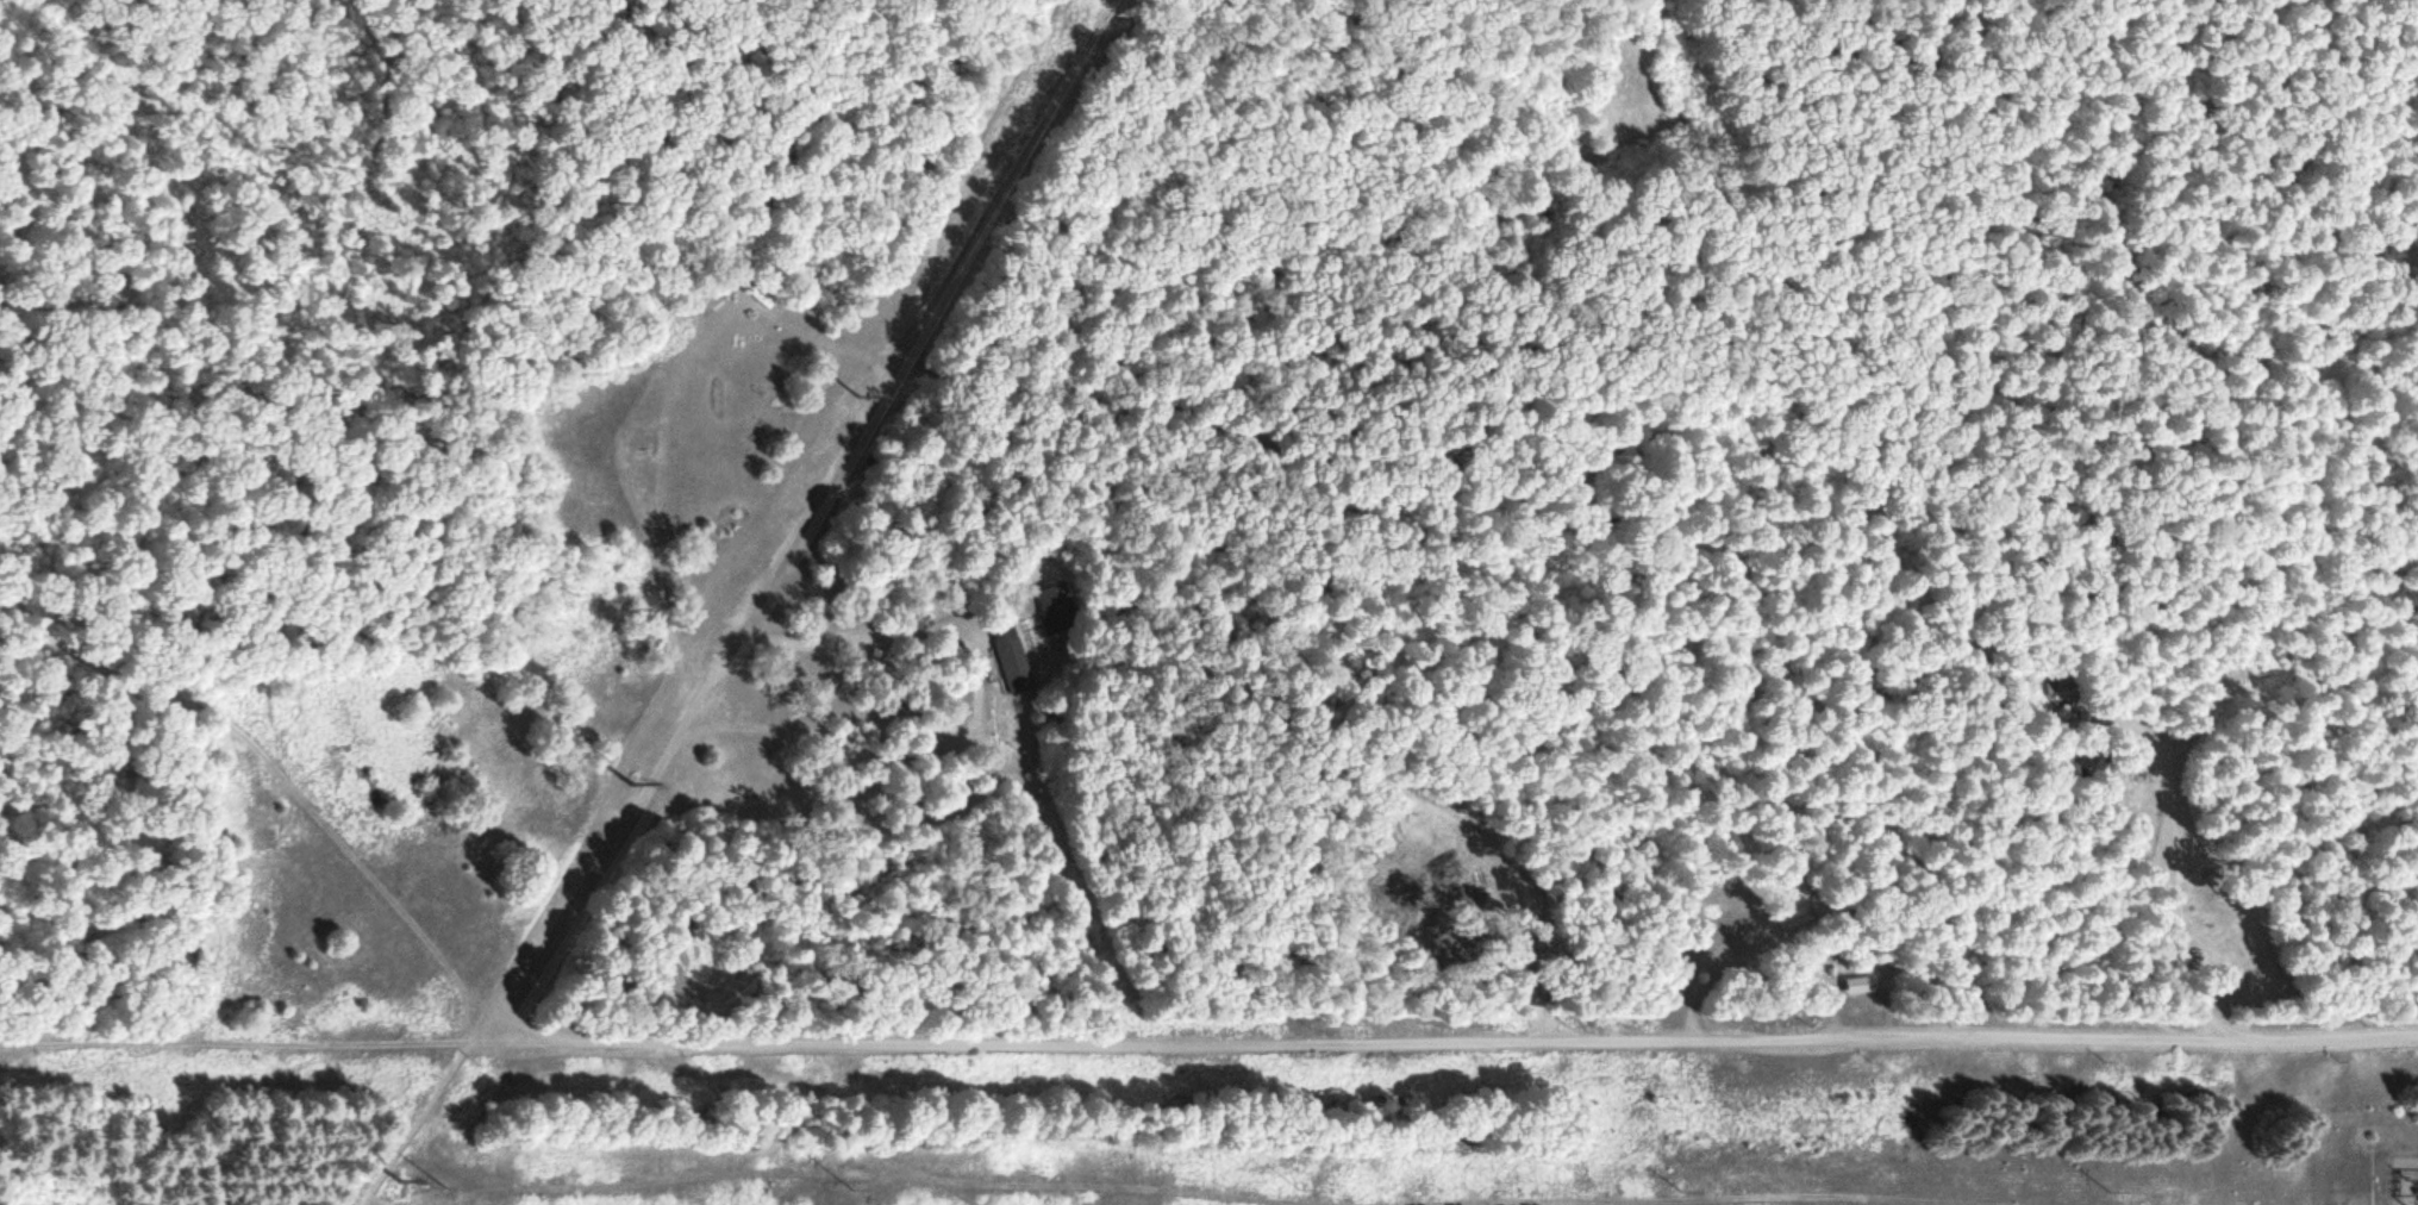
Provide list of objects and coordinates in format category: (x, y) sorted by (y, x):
power tower: (857, 394)
building: (1056, 607)
building: (1012, 657)
building: (2067, 687)
power tower: (630, 782)
road: (283, 805)
building: (1864, 985)
road: (1485, 1039)
power tower: (398, 1178)
power substation: (2404, 1180)

